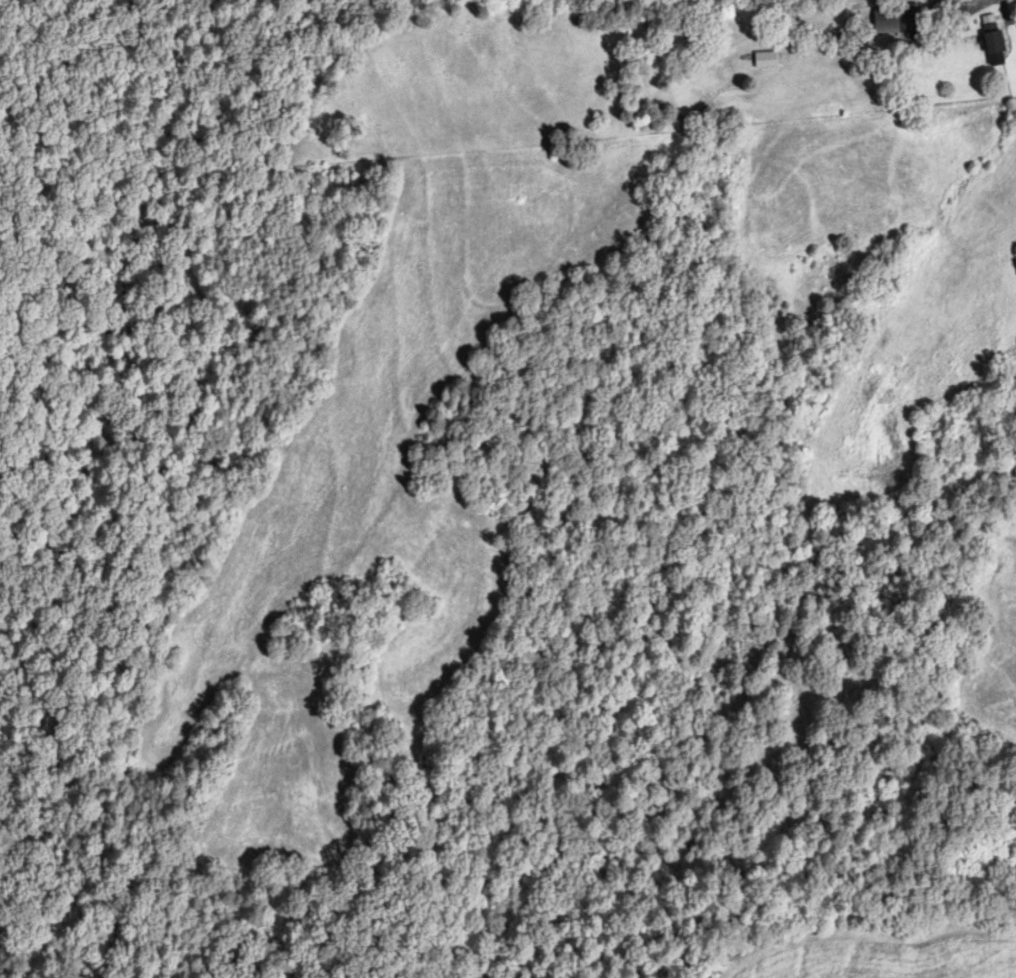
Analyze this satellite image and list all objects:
road: (961, 2)
road: (1005, 12)
building: (895, 21)
building: (992, 38)

